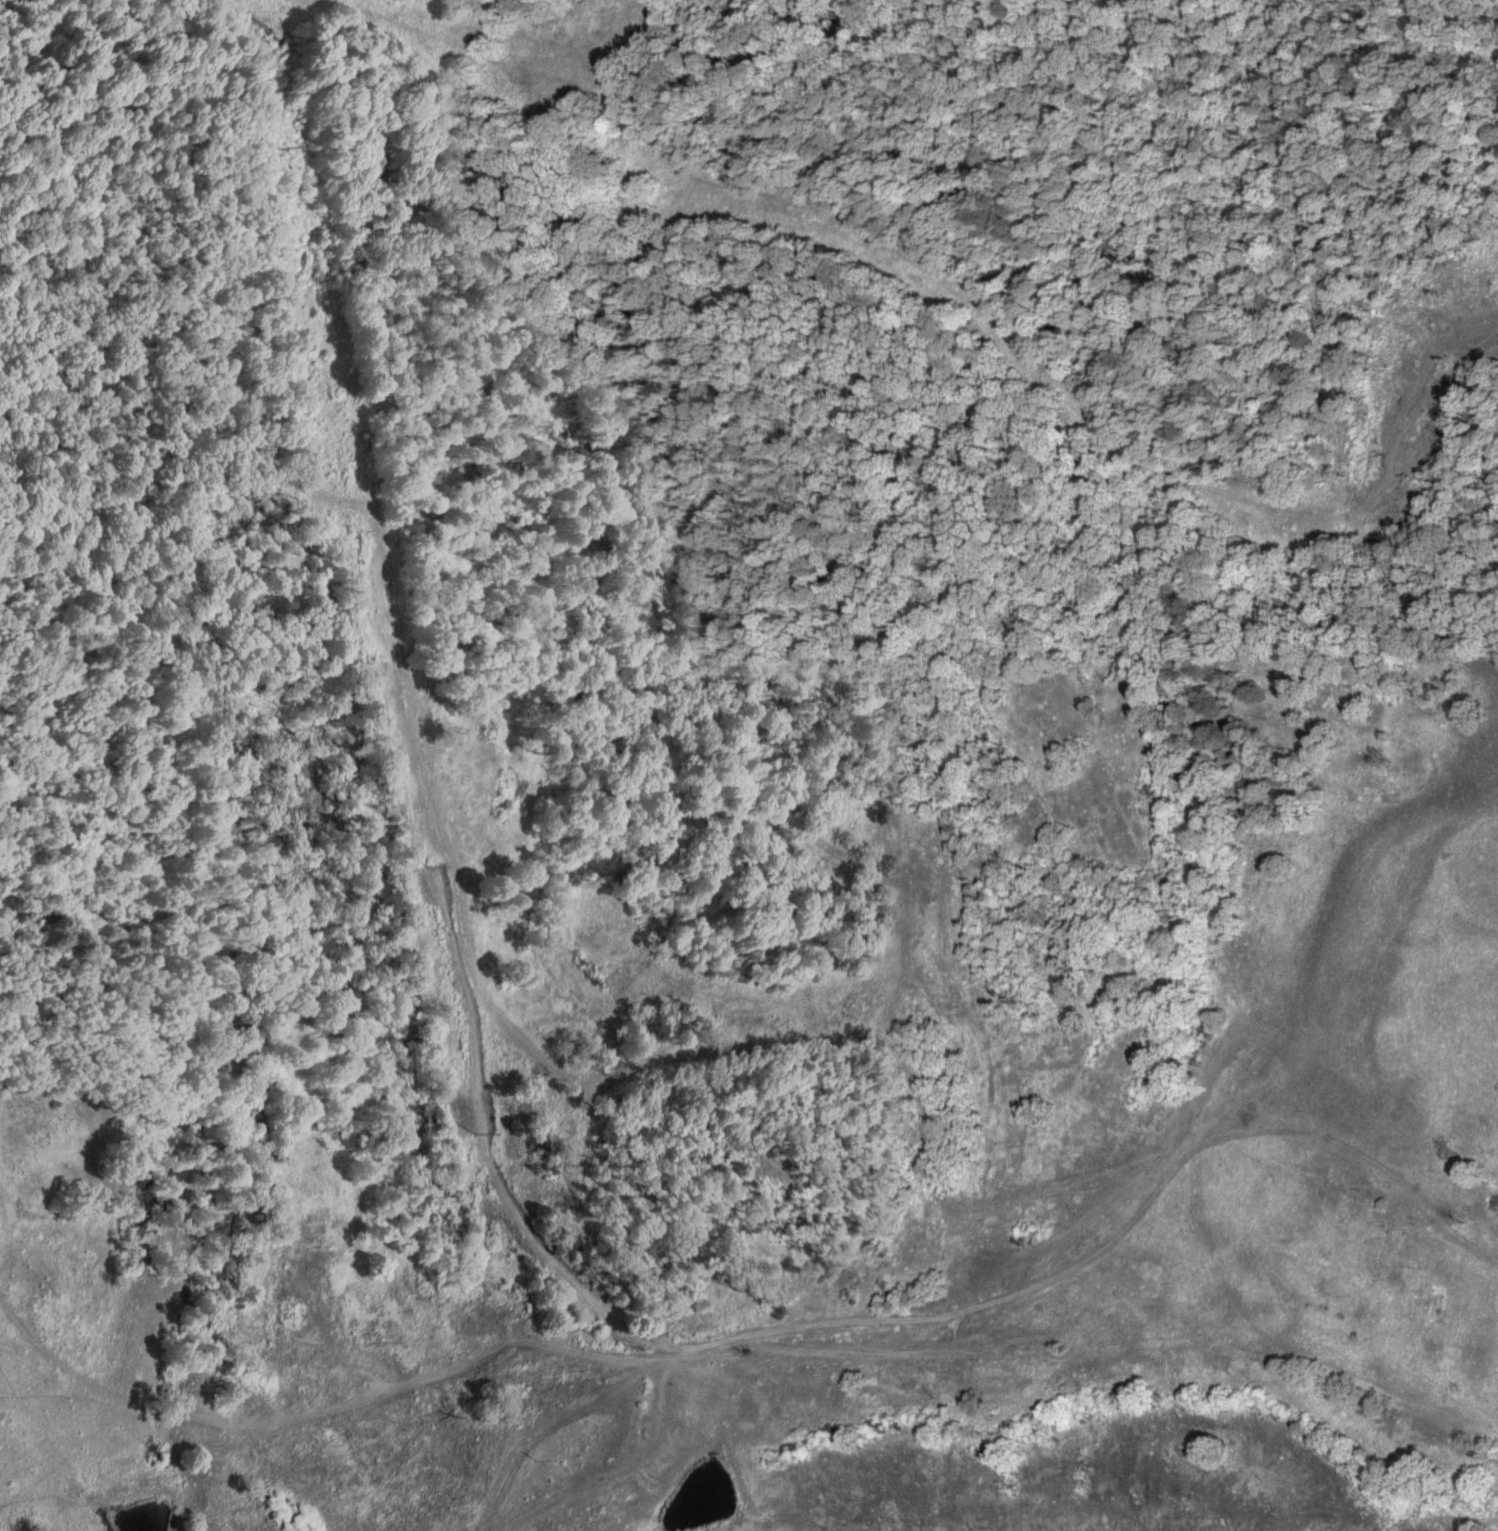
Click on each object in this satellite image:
building: (1364, 1150)
building: (1494, 1201)
road: (1409, 1354)

